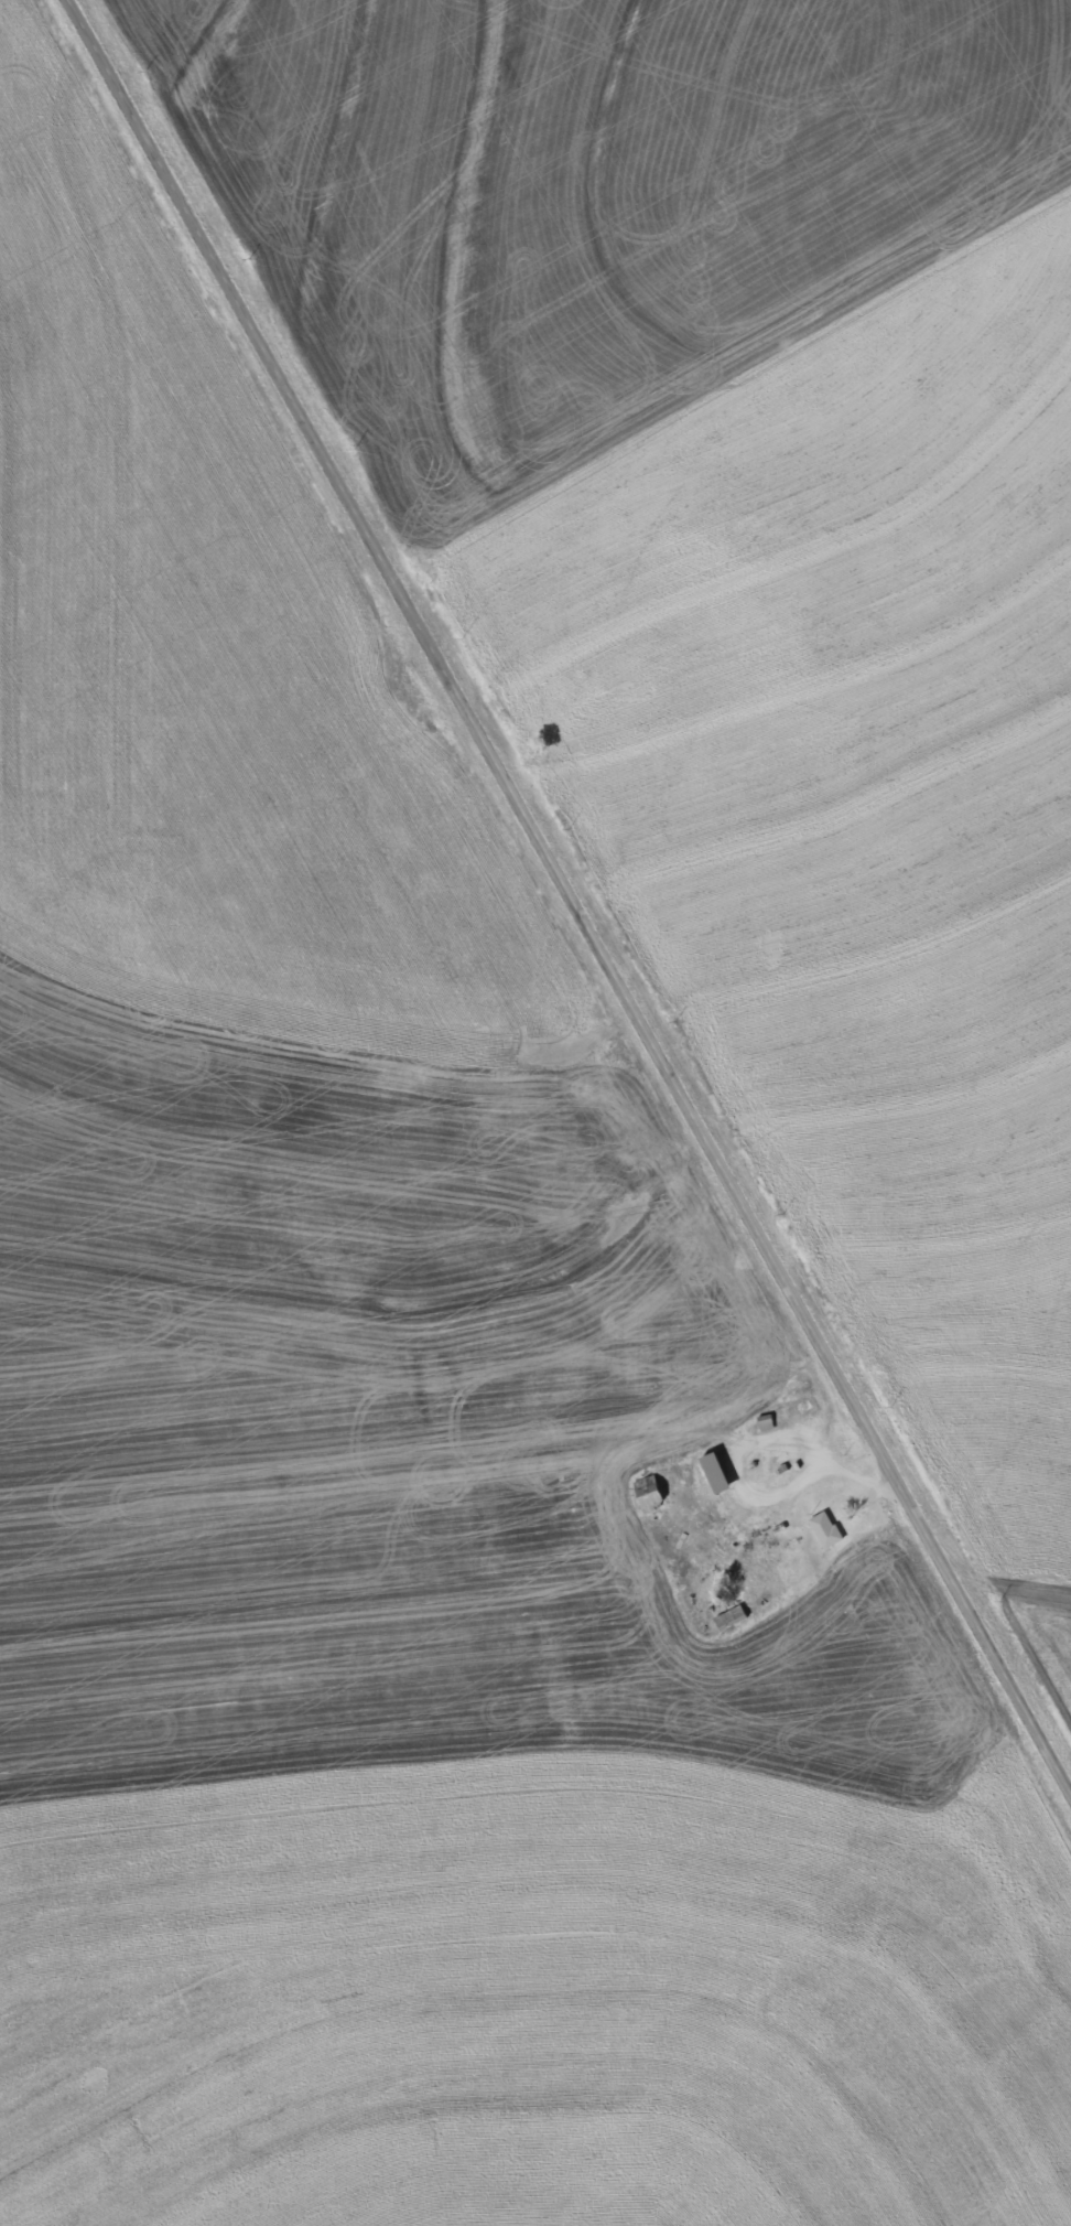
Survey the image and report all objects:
road: (570, 897)
building: (715, 1473)
building: (820, 1521)

